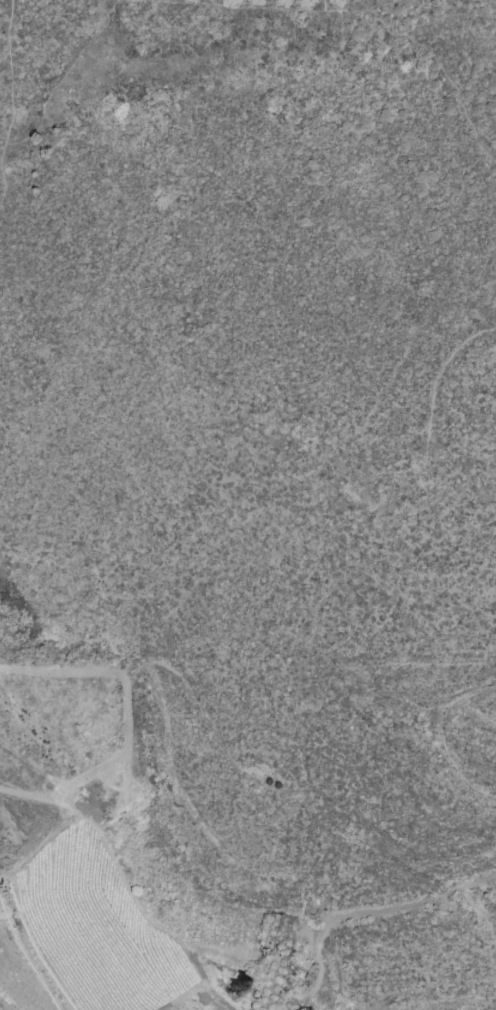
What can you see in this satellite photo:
road: (241, 8)
road: (331, 9)
road: (62, 80)
road: (12, 102)
road: (433, 382)

